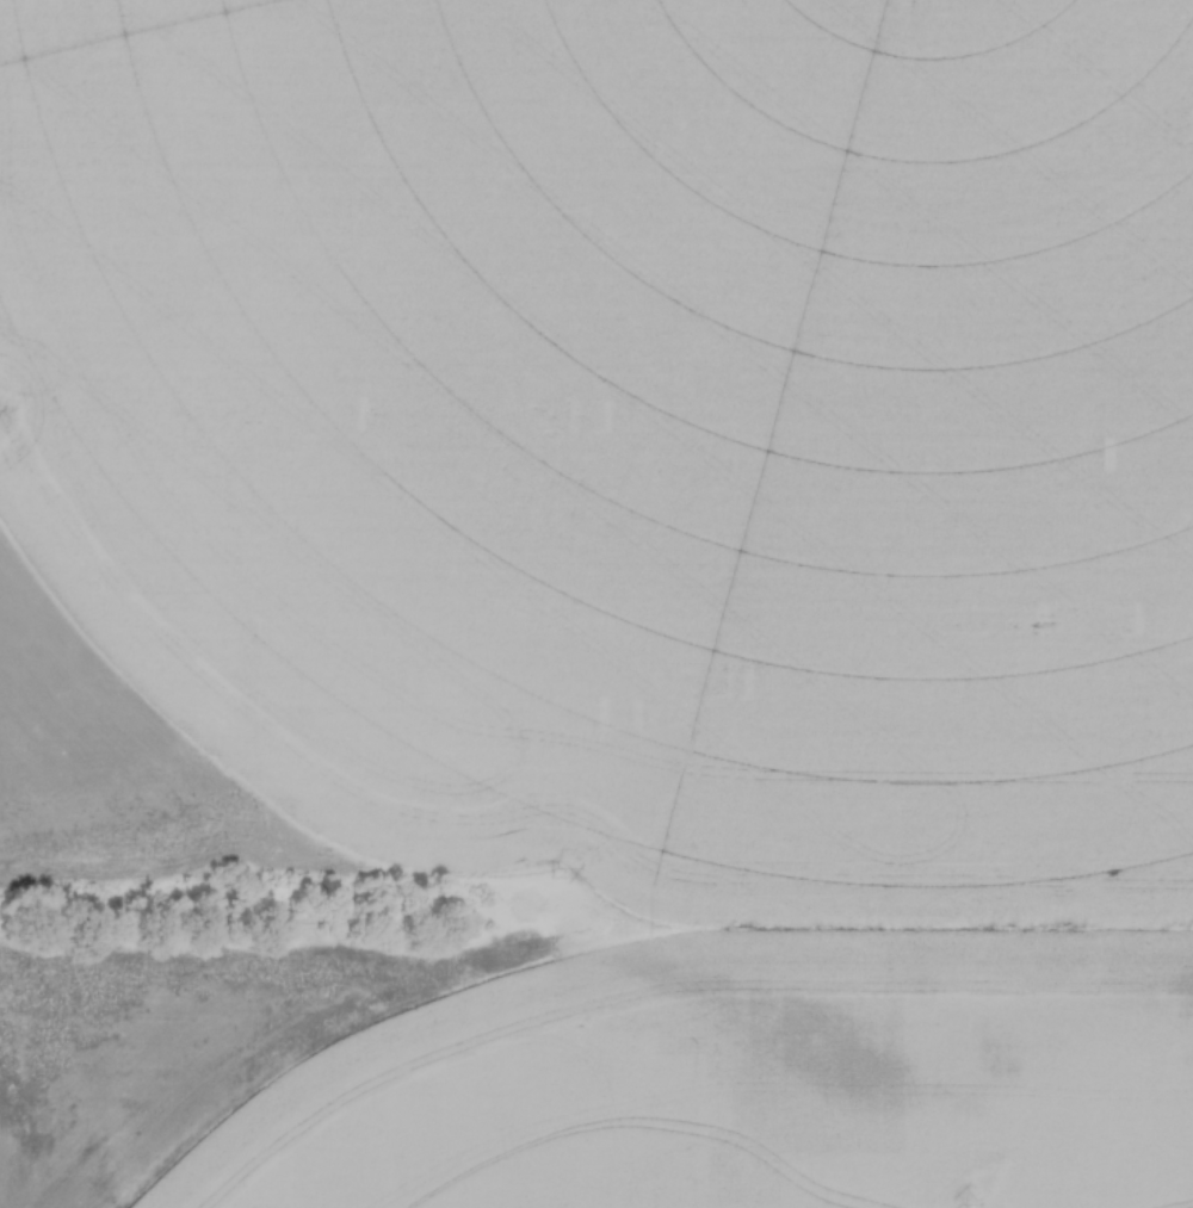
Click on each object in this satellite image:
power tower: (551, 874)

